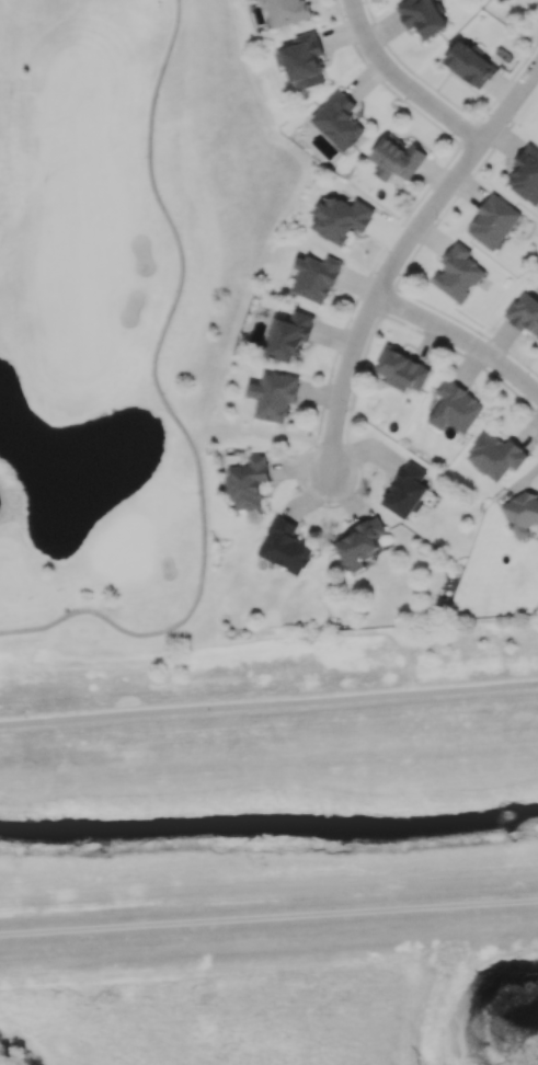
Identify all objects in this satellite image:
building: (496, 0)
building: (287, 11)
building: (422, 16)
building: (305, 62)
building: (470, 64)
road: (401, 83)
building: (339, 121)
building: (397, 158)
building: (526, 173)
building: (341, 218)
building: (493, 221)
road: (399, 255)
building: (457, 272)
building: (314, 277)
park: (121, 311)
building: (524, 313)
building: (288, 336)
road: (461, 339)
building: (274, 394)
road: (169, 405)
building: (455, 408)
building: (496, 455)
building: (248, 481)
building: (407, 491)
building: (522, 513)
building: (359, 542)
building: (285, 546)
road: (268, 705)
river: (268, 821)
road: (268, 918)

